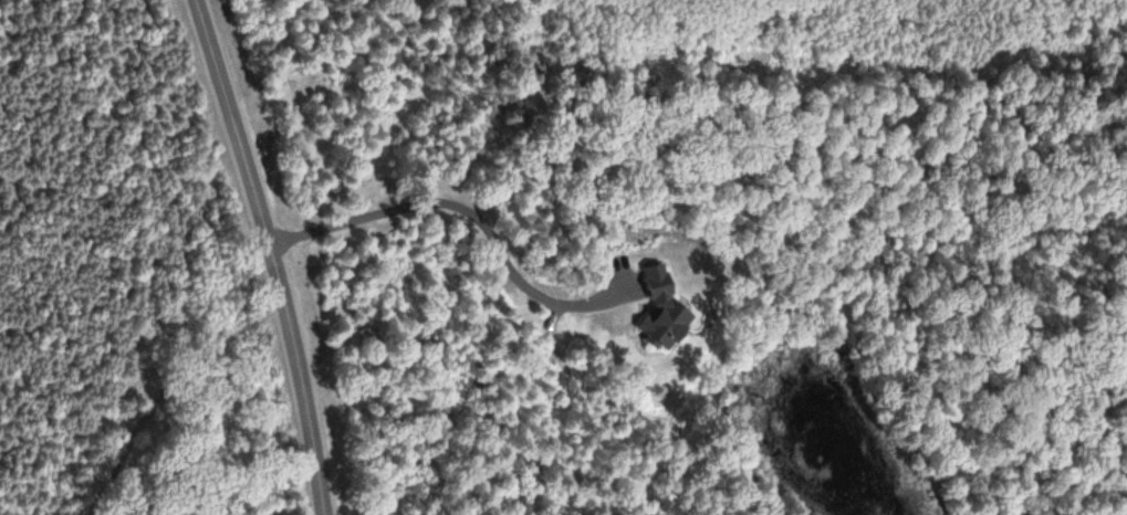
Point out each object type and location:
road: (273, 254)

